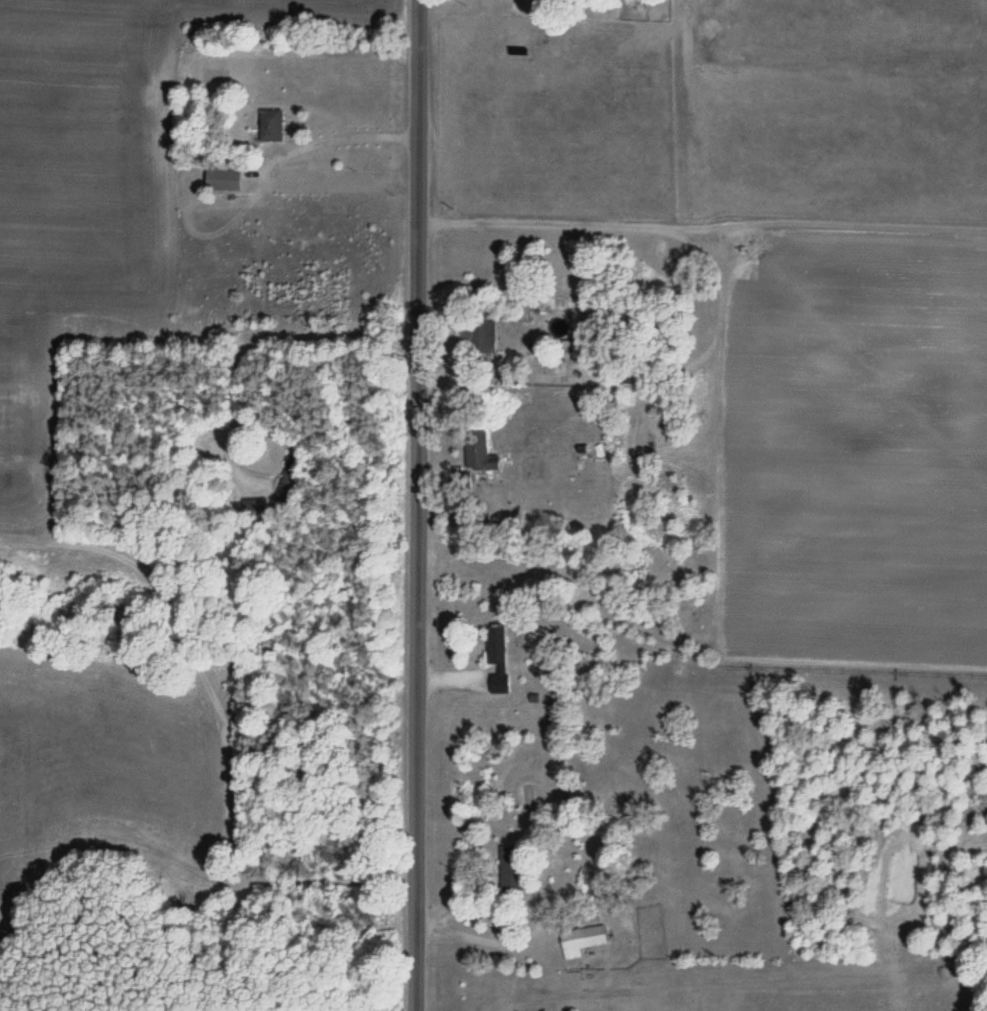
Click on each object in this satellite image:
building: (271, 125)
building: (225, 179)
building: (484, 340)
building: (570, 348)
road: (263, 389)
building: (478, 451)
building: (287, 475)
road: (403, 505)
building: (497, 645)
building: (501, 683)
road: (172, 822)
building: (511, 866)
building: (594, 935)

